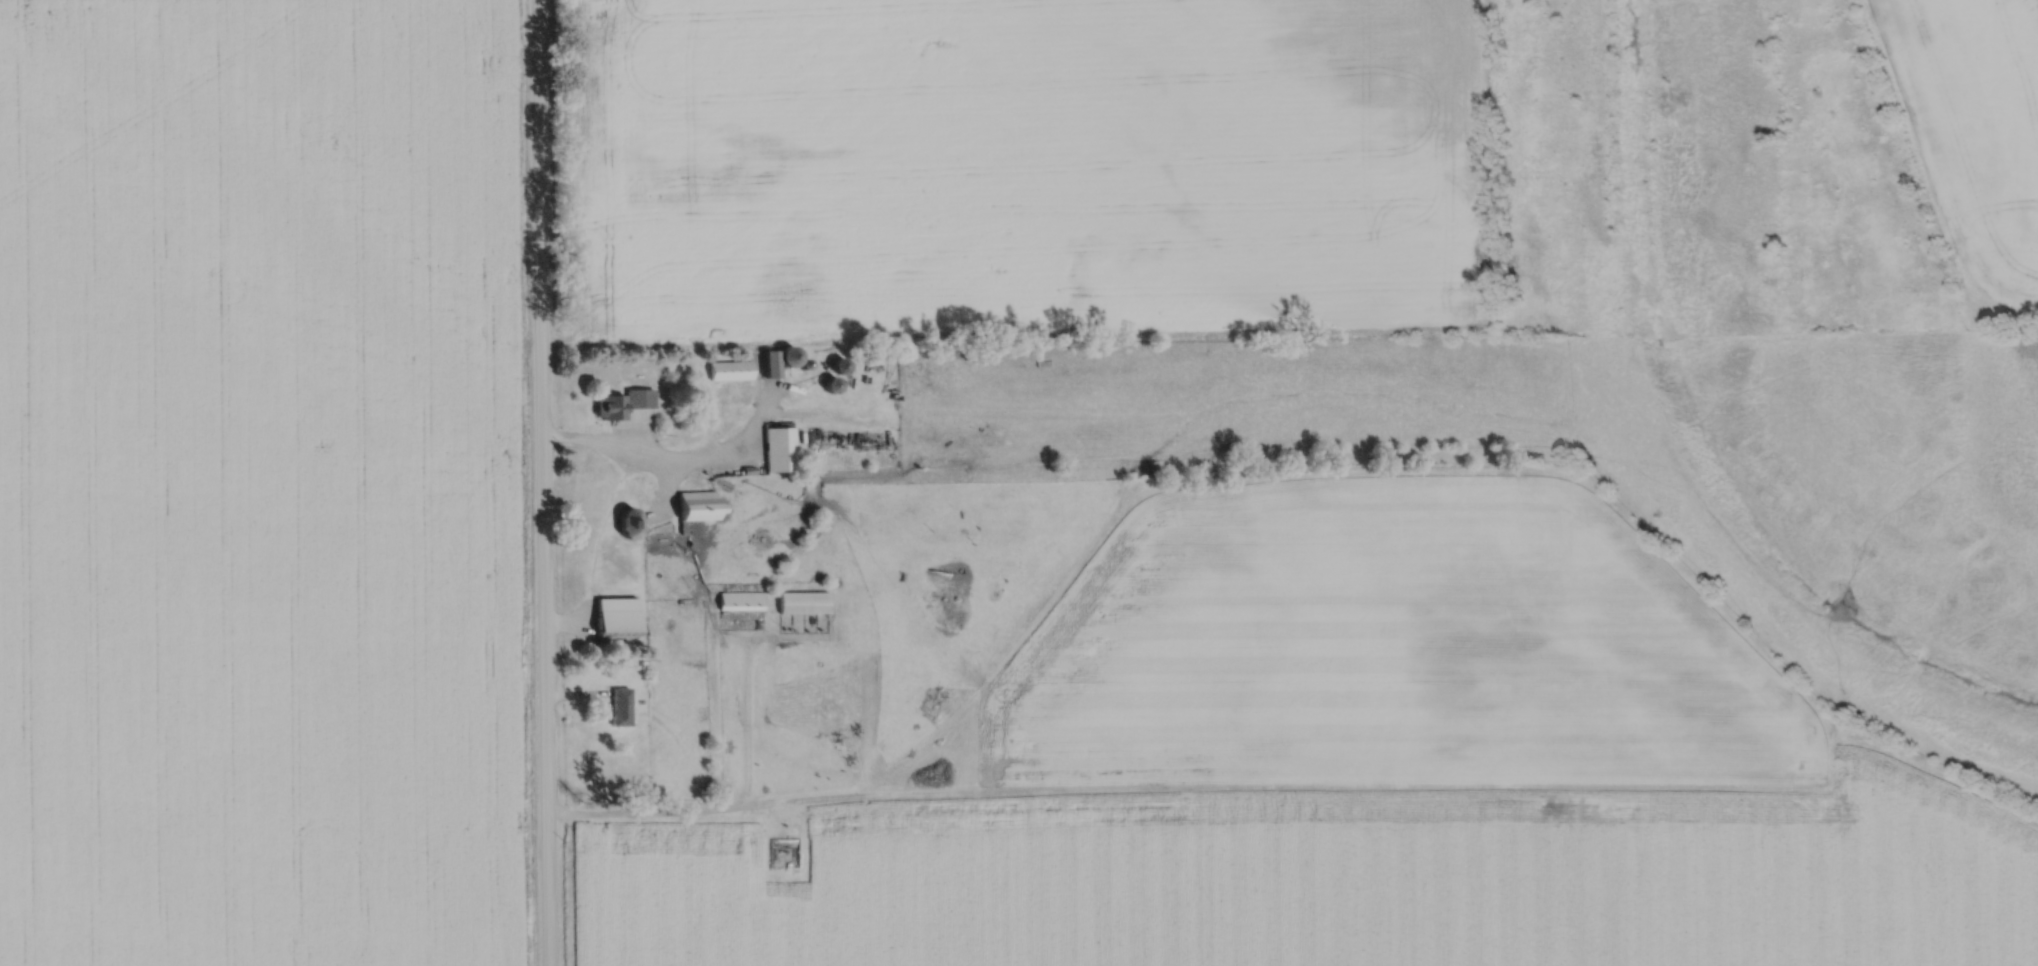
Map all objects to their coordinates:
crop: (1977, 128)
crop: (1027, 169)
building: (890, 348)
building: (791, 353)
building: (806, 360)
building: (772, 361)
building: (841, 364)
building: (731, 369)
building: (832, 384)
building: (640, 397)
building: (611, 405)
building: (780, 446)
road: (674, 460)
road: (541, 483)
crop: (260, 484)
road: (666, 492)
building: (698, 504)
building: (629, 521)
building: (685, 526)
building: (741, 600)
building: (804, 601)
building: (617, 615)
building: (643, 664)
building: (621, 706)
crop: (1362, 773)

